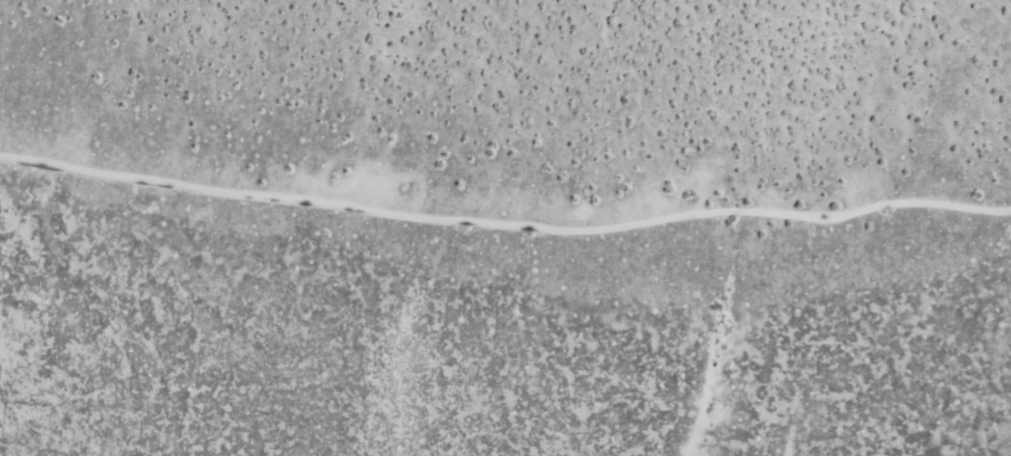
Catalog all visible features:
road: (505, 225)

